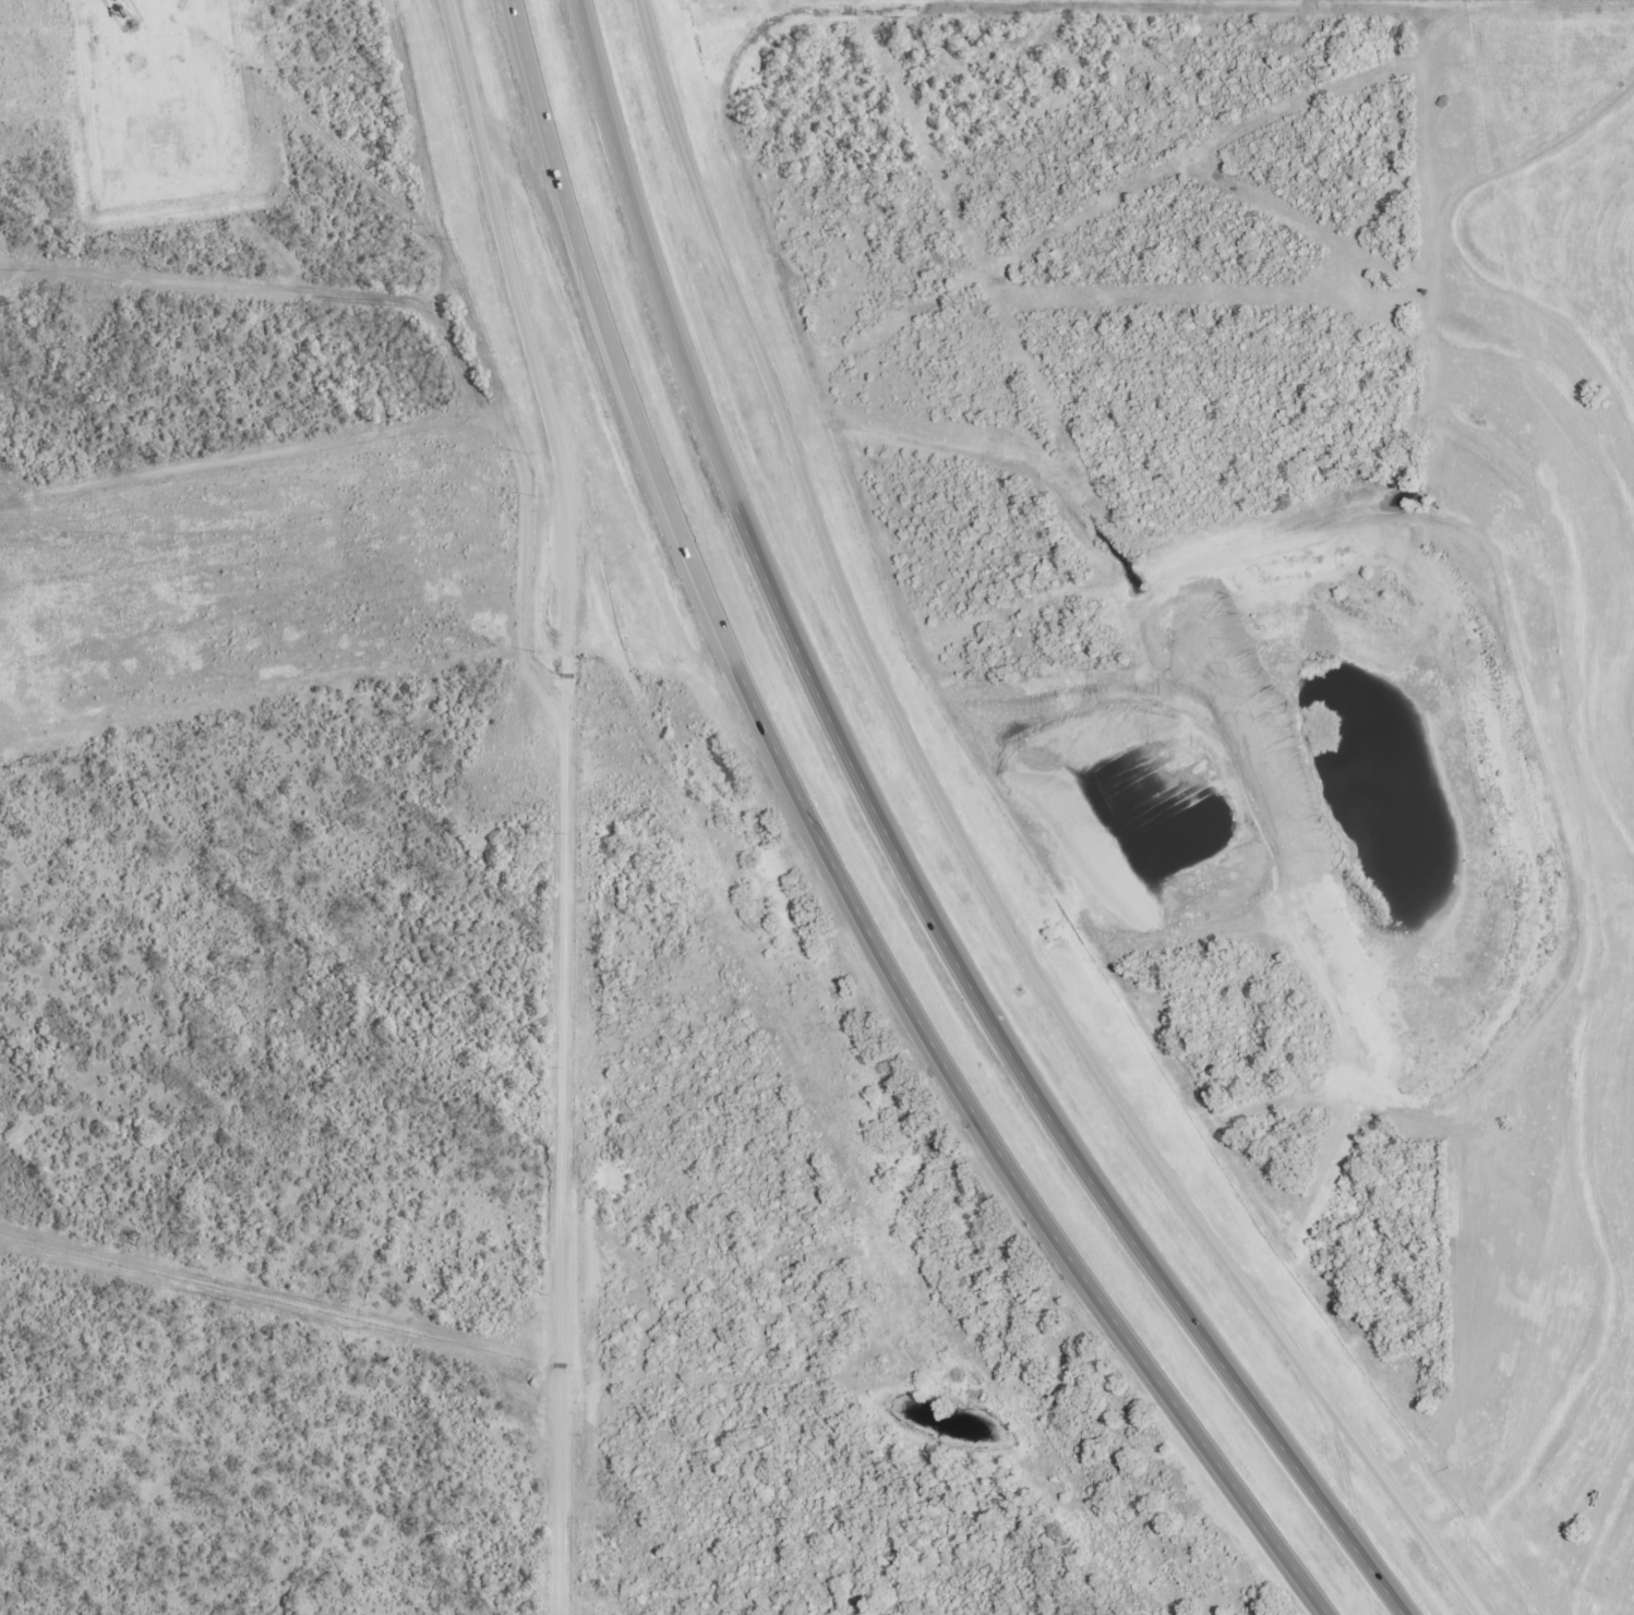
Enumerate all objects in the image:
road: (180, 11)
road: (524, 321)
road: (832, 853)
road: (969, 854)
road: (896, 856)
road: (561, 1131)

